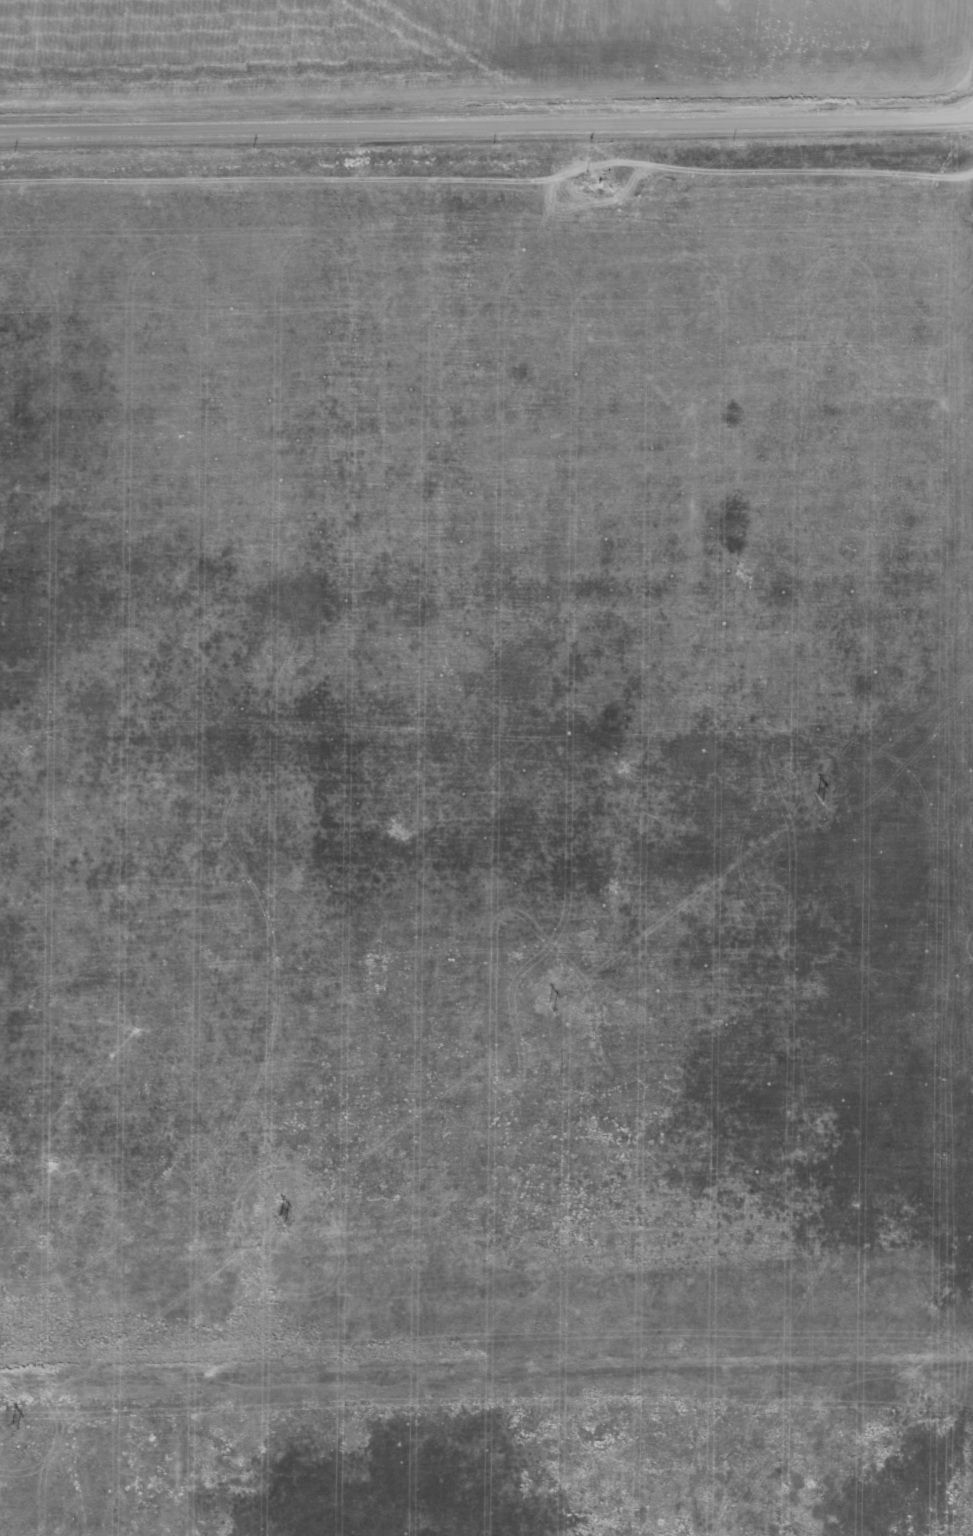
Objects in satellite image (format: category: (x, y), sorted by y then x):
road: (486, 126)
power tower: (820, 795)
power tower: (552, 1005)
power tower: (282, 1215)
power tower: (13, 1425)

